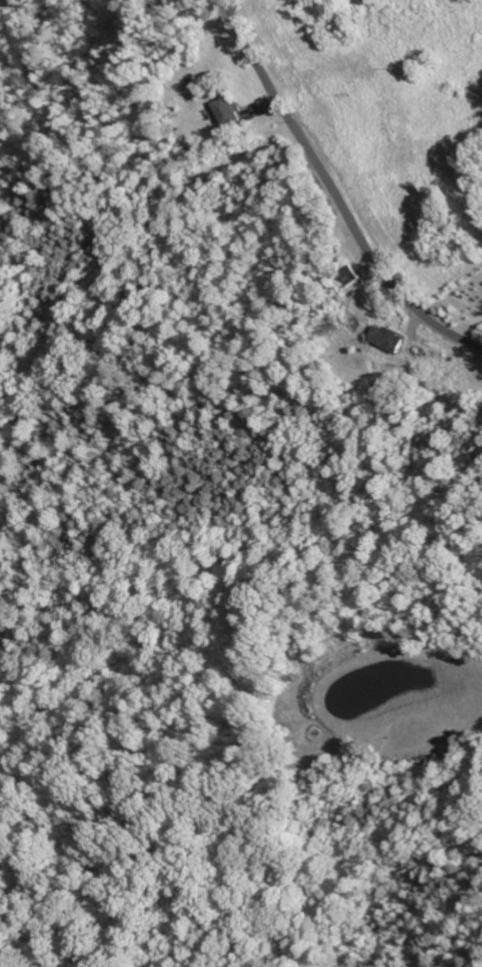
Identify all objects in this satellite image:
building: (218, 112)
road: (332, 192)
building: (383, 339)

